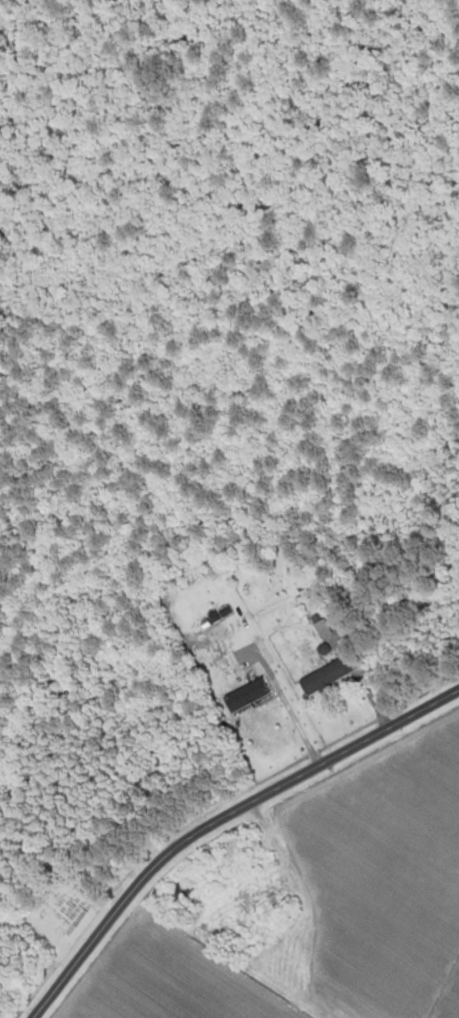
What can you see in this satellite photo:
building: (322, 629)
building: (328, 676)
building: (247, 696)
road: (219, 822)
building: (180, 891)

